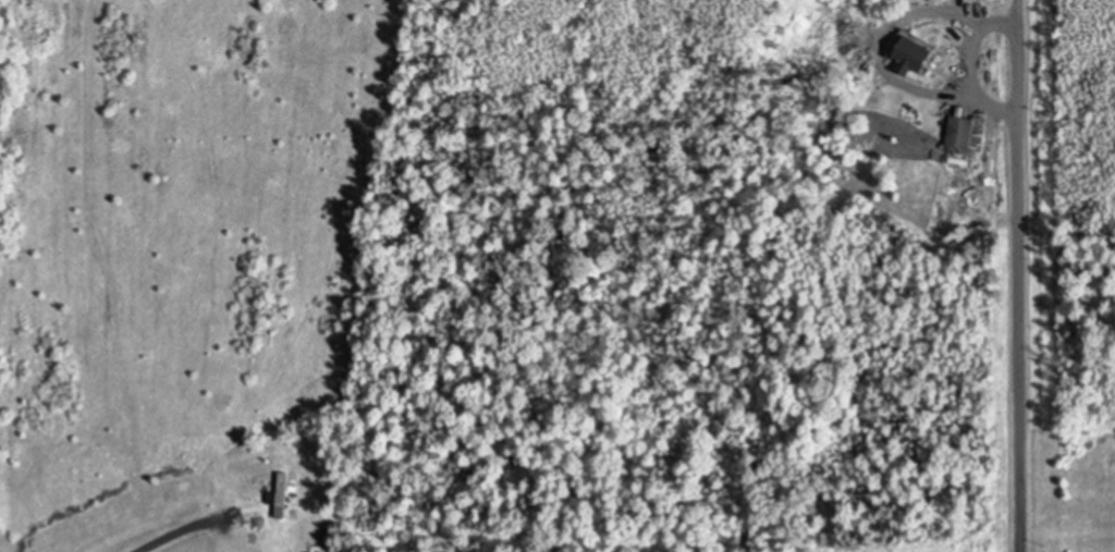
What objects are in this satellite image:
building: (914, 54)
building: (964, 132)
road: (1014, 275)
building: (1063, 475)
building: (280, 494)
road: (191, 531)

